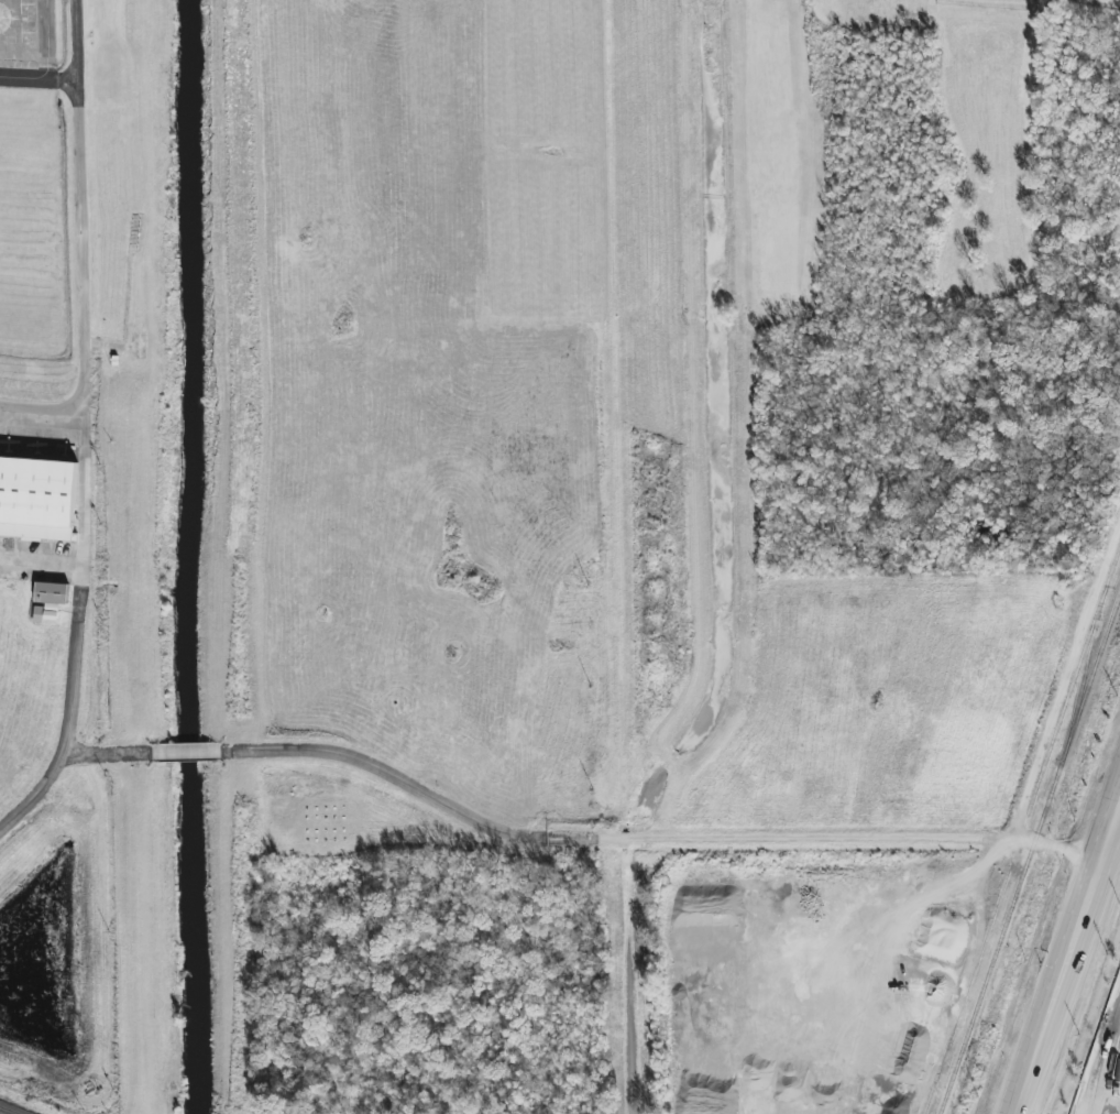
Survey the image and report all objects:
airport apron: (28, 44)
road: (39, 77)
road: (79, 205)
road: (41, 407)
airport hangar: (37, 500)
building: (37, 500)
airport apron: (45, 500)
airport: (70, 531)
road: (623, 556)
building: (52, 593)
railway: (1089, 655)
railway: (1067, 703)
road: (1113, 834)
road: (744, 840)
railway: (1029, 853)
road: (1065, 958)
railway: (3, 1112)

